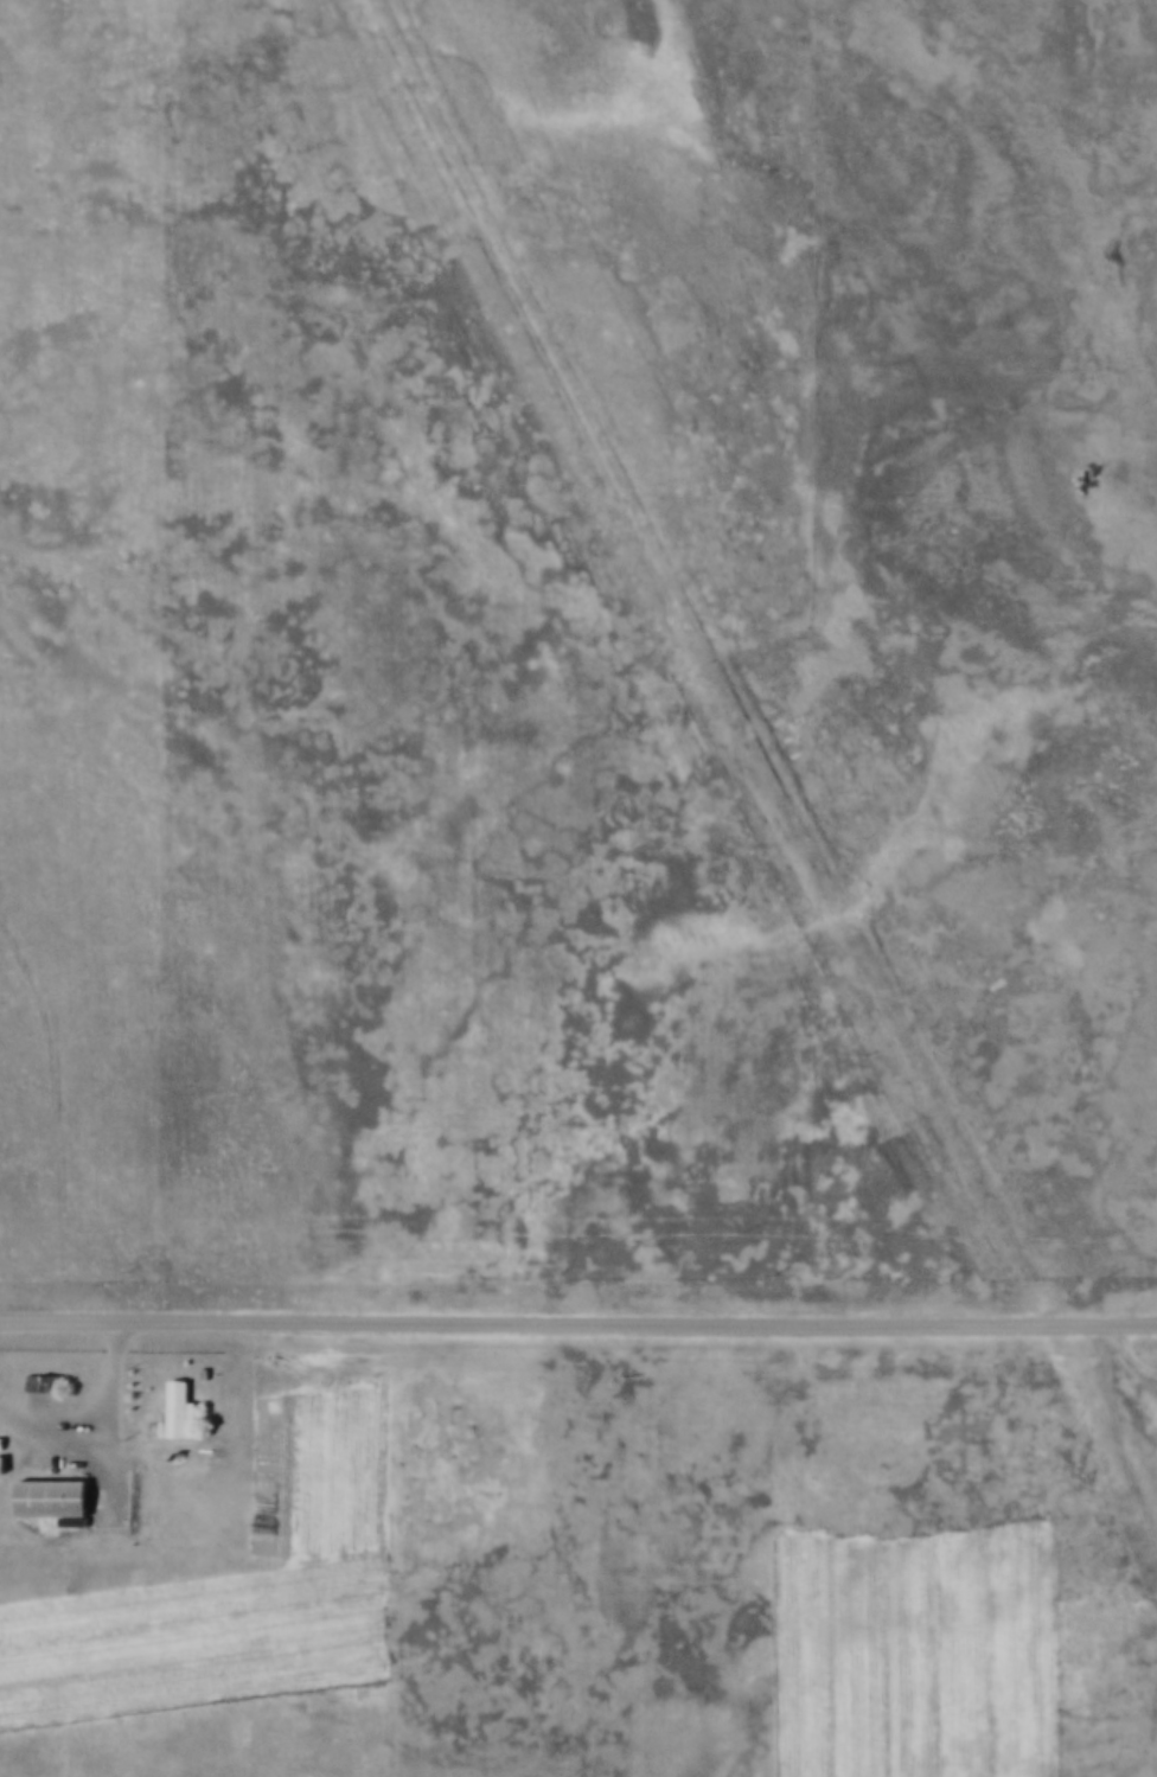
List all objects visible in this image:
road: (577, 1322)
road: (1133, 1347)
building: (206, 1369)
building: (46, 1378)
building: (181, 1406)
building: (122, 1415)
road: (106, 1423)
building: (2, 1439)
building: (2, 1460)
building: (58, 1496)

